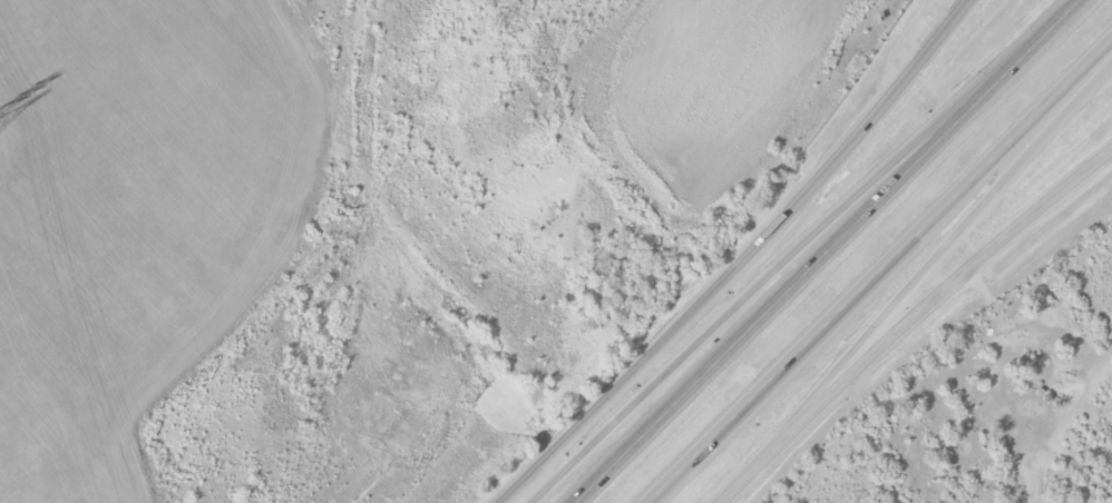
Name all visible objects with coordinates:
road: (960, 9)
road: (1065, 13)
road: (803, 41)
road: (758, 71)
road: (899, 82)
road: (939, 251)
road: (787, 259)
road: (811, 265)
road: (882, 272)
road: (911, 318)
road: (673, 327)

